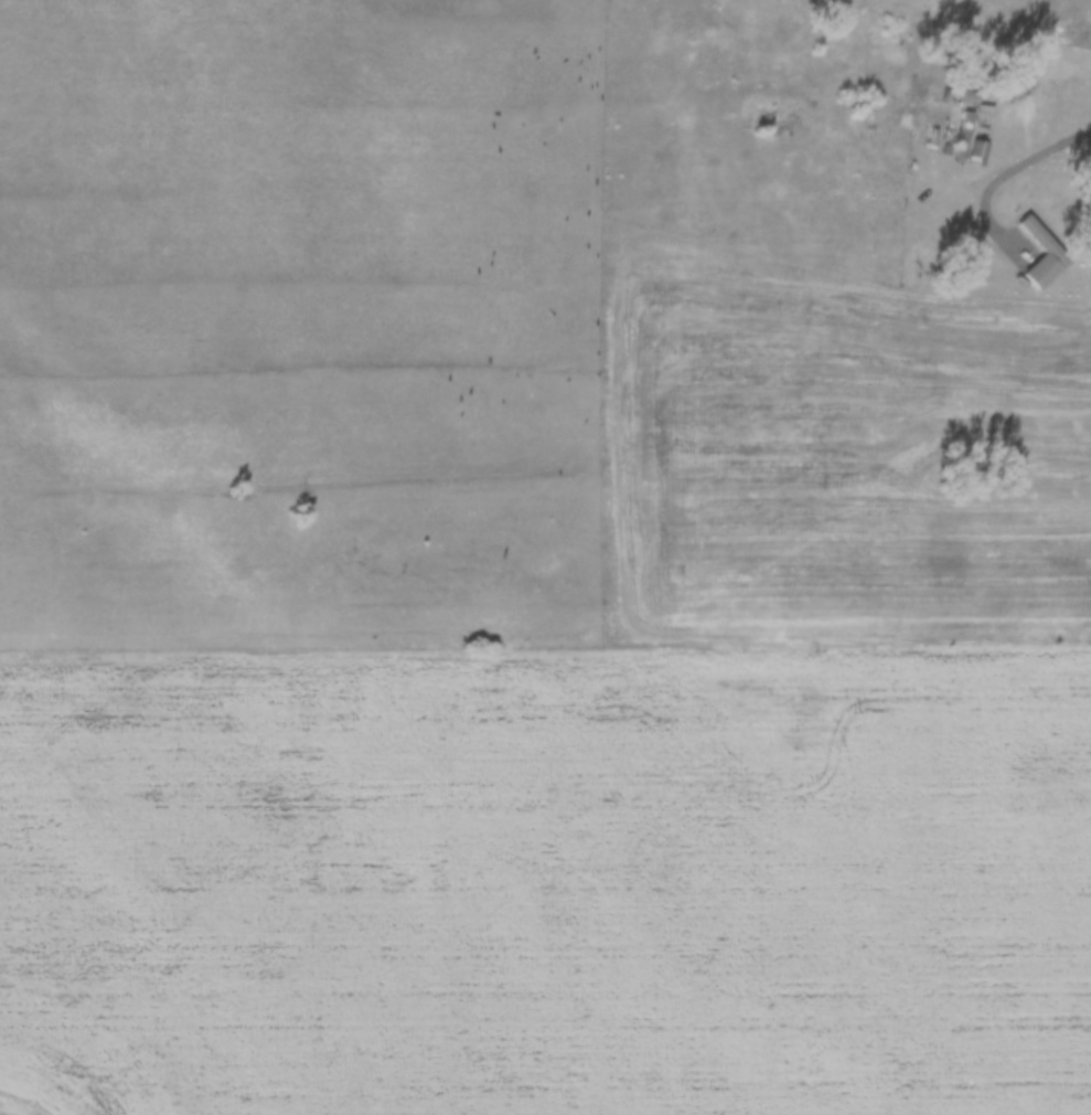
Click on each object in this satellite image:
building: (970, 97)
building: (985, 112)
building: (964, 134)
road: (1057, 149)
building: (948, 150)
building: (977, 150)
building: (1040, 237)

